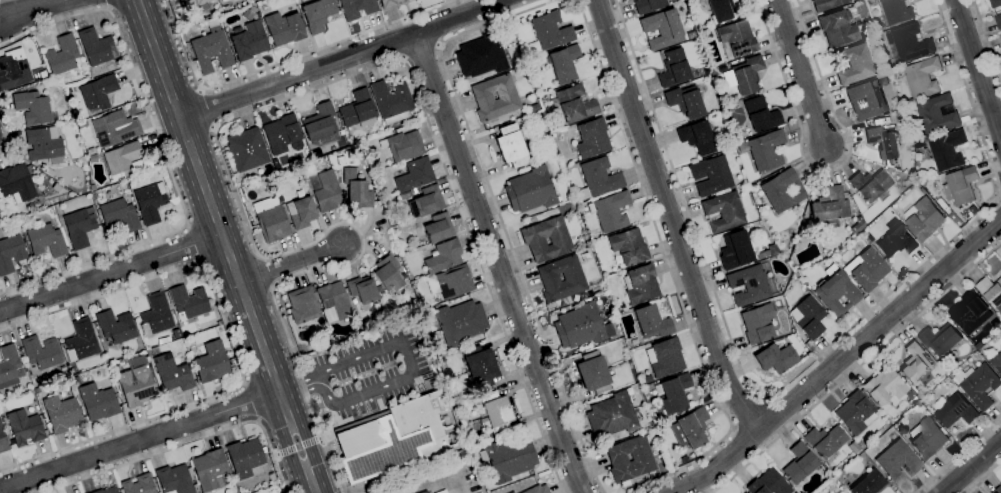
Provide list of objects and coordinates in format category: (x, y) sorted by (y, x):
building: (223, 1)
road: (107, 3)
building: (388, 3)
building: (996, 3)
building: (197, 4)
building: (827, 4)
building: (647, 5)
road: (29, 8)
building: (357, 8)
building: (226, 9)
building: (720, 9)
building: (898, 11)
building: (248, 12)
building: (318, 14)
building: (999, 20)
building: (283, 28)
building: (838, 28)
building: (662, 29)
building: (548, 33)
building: (865, 35)
building: (736, 39)
road: (987, 40)
building: (247, 41)
building: (910, 43)
building: (96, 47)
building: (211, 49)
road: (420, 53)
building: (62, 56)
building: (482, 56)
road: (342, 59)
road: (281, 63)
building: (564, 63)
building: (857, 65)
road: (978, 67)
building: (674, 68)
building: (713, 71)
road: (800, 72)
building: (13, 73)
building: (745, 76)
building: (924, 76)
building: (69, 91)
building: (98, 92)
building: (507, 96)
building: (867, 100)
building: (391, 102)
building: (685, 102)
building: (573, 105)
building: (33, 108)
building: (534, 108)
road: (207, 109)
building: (357, 110)
road: (250, 112)
building: (939, 113)
building: (759, 115)
building: (319, 122)
building: (115, 128)
road: (9, 134)
building: (283, 135)
building: (697, 137)
building: (592, 138)
building: (884, 141)
building: (43, 144)
building: (403, 146)
building: (511, 146)
building: (246, 149)
building: (949, 149)
building: (764, 150)
road: (165, 157)
building: (92, 158)
building: (120, 161)
road: (827, 170)
building: (414, 175)
building: (711, 176)
building: (599, 177)
building: (910, 181)
building: (16, 184)
building: (870, 184)
building: (370, 185)
building: (131, 186)
building: (962, 186)
building: (923, 189)
building: (325, 190)
building: (356, 190)
building: (415, 190)
building: (530, 190)
building: (783, 191)
building: (405, 196)
building: (150, 202)
building: (426, 202)
building: (829, 209)
road: (497, 211)
building: (610, 211)
building: (724, 211)
building: (302, 213)
building: (119, 216)
building: (925, 218)
road: (671, 219)
building: (270, 220)
building: (857, 225)
building: (803, 226)
building: (79, 227)
building: (439, 228)
building: (869, 238)
building: (897, 239)
building: (46, 240)
building: (533, 242)
road: (226, 246)
building: (628, 246)
building: (735, 251)
building: (767, 252)
building: (10, 254)
building: (443, 256)
building: (398, 257)
road: (290, 263)
road: (496, 263)
building: (866, 269)
road: (670, 270)
road: (111, 273)
building: (388, 274)
building: (404, 276)
building: (573, 277)
building: (451, 282)
building: (641, 284)
building: (748, 285)
building: (362, 290)
building: (991, 290)
building: (836, 291)
building: (353, 301)
building: (333, 302)
building: (188, 304)
building: (303, 305)
building: (972, 312)
building: (156, 315)
building: (808, 317)
building: (460, 322)
building: (652, 322)
building: (758, 323)
building: (581, 326)
building: (116, 327)
building: (942, 339)
building: (81, 341)
building: (322, 343)
road: (231, 344)
building: (41, 352)
building: (664, 357)
building: (776, 358)
building: (997, 361)
building: (123, 362)
building: (212, 362)
road: (838, 362)
building: (915, 362)
road: (412, 363)
building: (479, 364)
building: (9, 366)
road: (856, 368)
building: (62, 369)
building: (172, 373)
building: (593, 373)
road: (798, 373)
building: (648, 379)
building: (111, 382)
building: (137, 383)
building: (980, 385)
road: (289, 388)
building: (887, 388)
building: (674, 393)
building: (916, 400)
building: (97, 402)
road: (251, 403)
building: (459, 409)
building: (957, 411)
building: (494, 413)
building: (855, 413)
building: (61, 414)
building: (612, 416)
building: (24, 428)
building: (690, 429)
building: (396, 438)
building: (928, 438)
road: (139, 440)
building: (11, 441)
building: (2, 442)
building: (859, 442)
road: (185, 443)
building: (826, 443)
road: (296, 446)
building: (853, 448)
building: (263, 450)
road: (958, 456)
building: (862, 457)
building: (509, 458)
building: (246, 459)
building: (684, 460)
building: (897, 460)
building: (641, 461)
building: (470, 463)
building: (800, 464)
building: (849, 465)
road: (970, 466)
building: (210, 470)
building: (271, 478)
road: (984, 478)
building: (174, 480)
road: (434, 480)
building: (869, 483)
building: (768, 484)
building: (138, 485)
building: (195, 488)
building: (537, 489)
building: (108, 490)
building: (998, 490)
building: (424, 492)
building: (511, 492)
building: (513, 492)
building: (840, 492)

